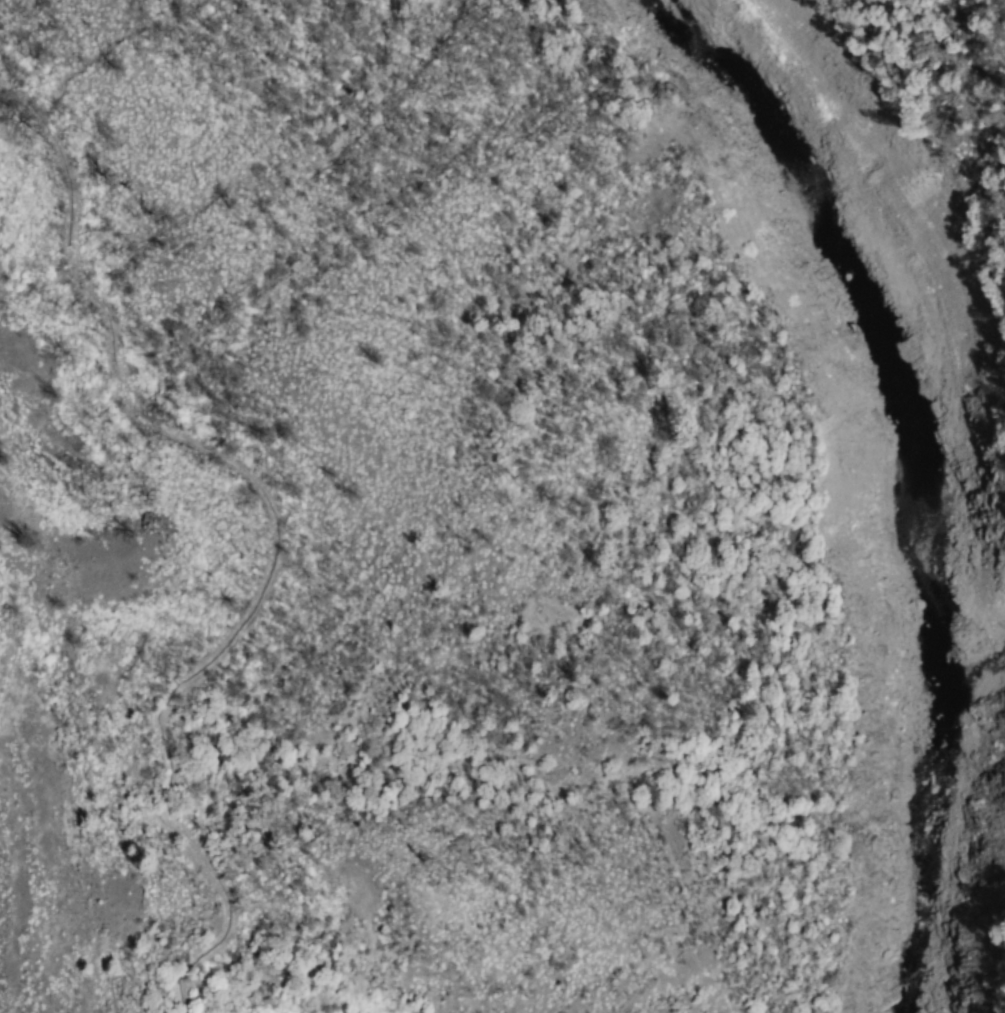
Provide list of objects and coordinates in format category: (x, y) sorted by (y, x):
river: (880, 307)
river: (922, 842)

